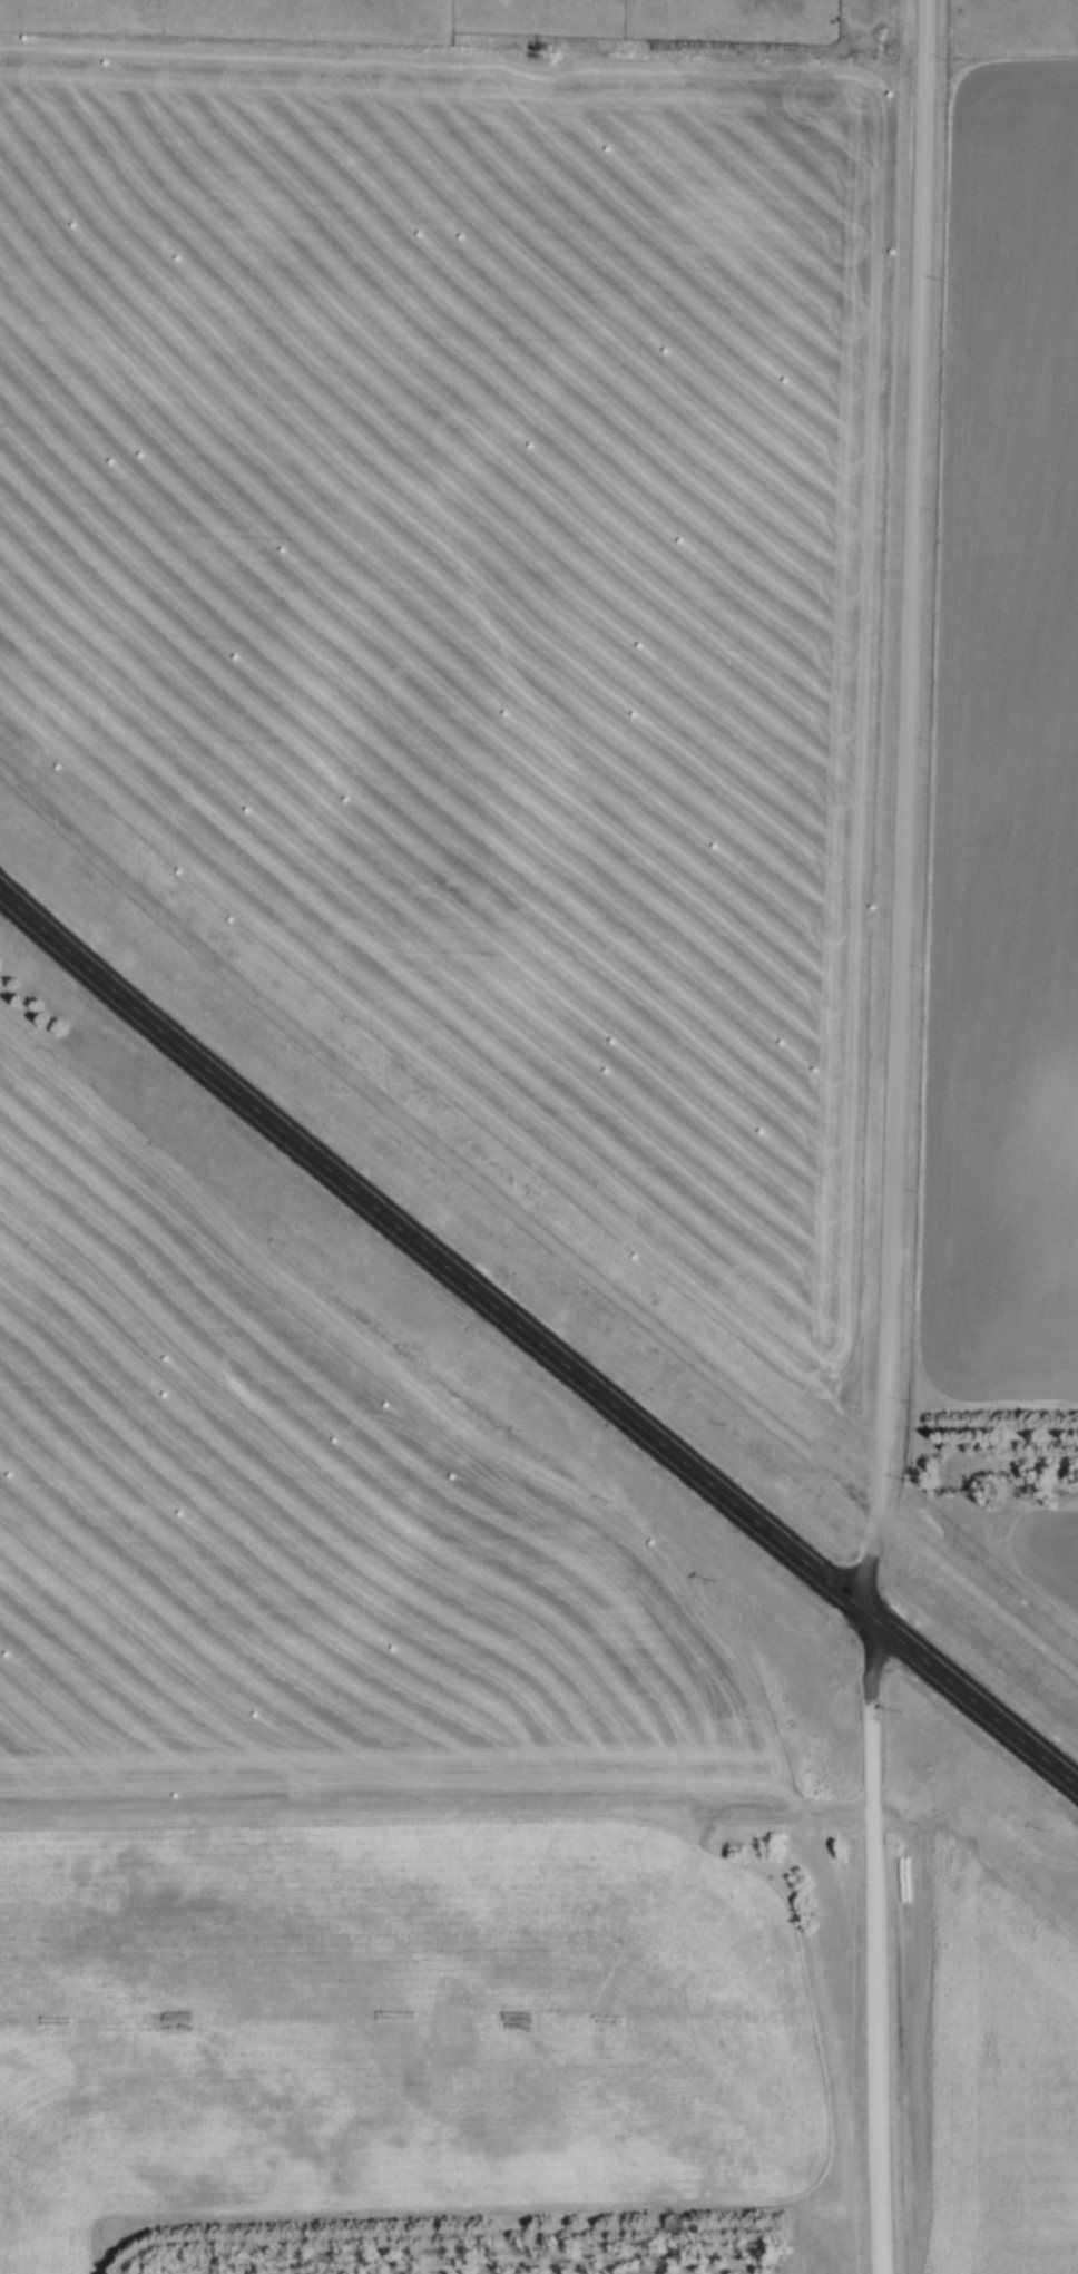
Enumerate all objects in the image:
road: (898, 1138)
road: (531, 1227)
road: (536, 1338)

